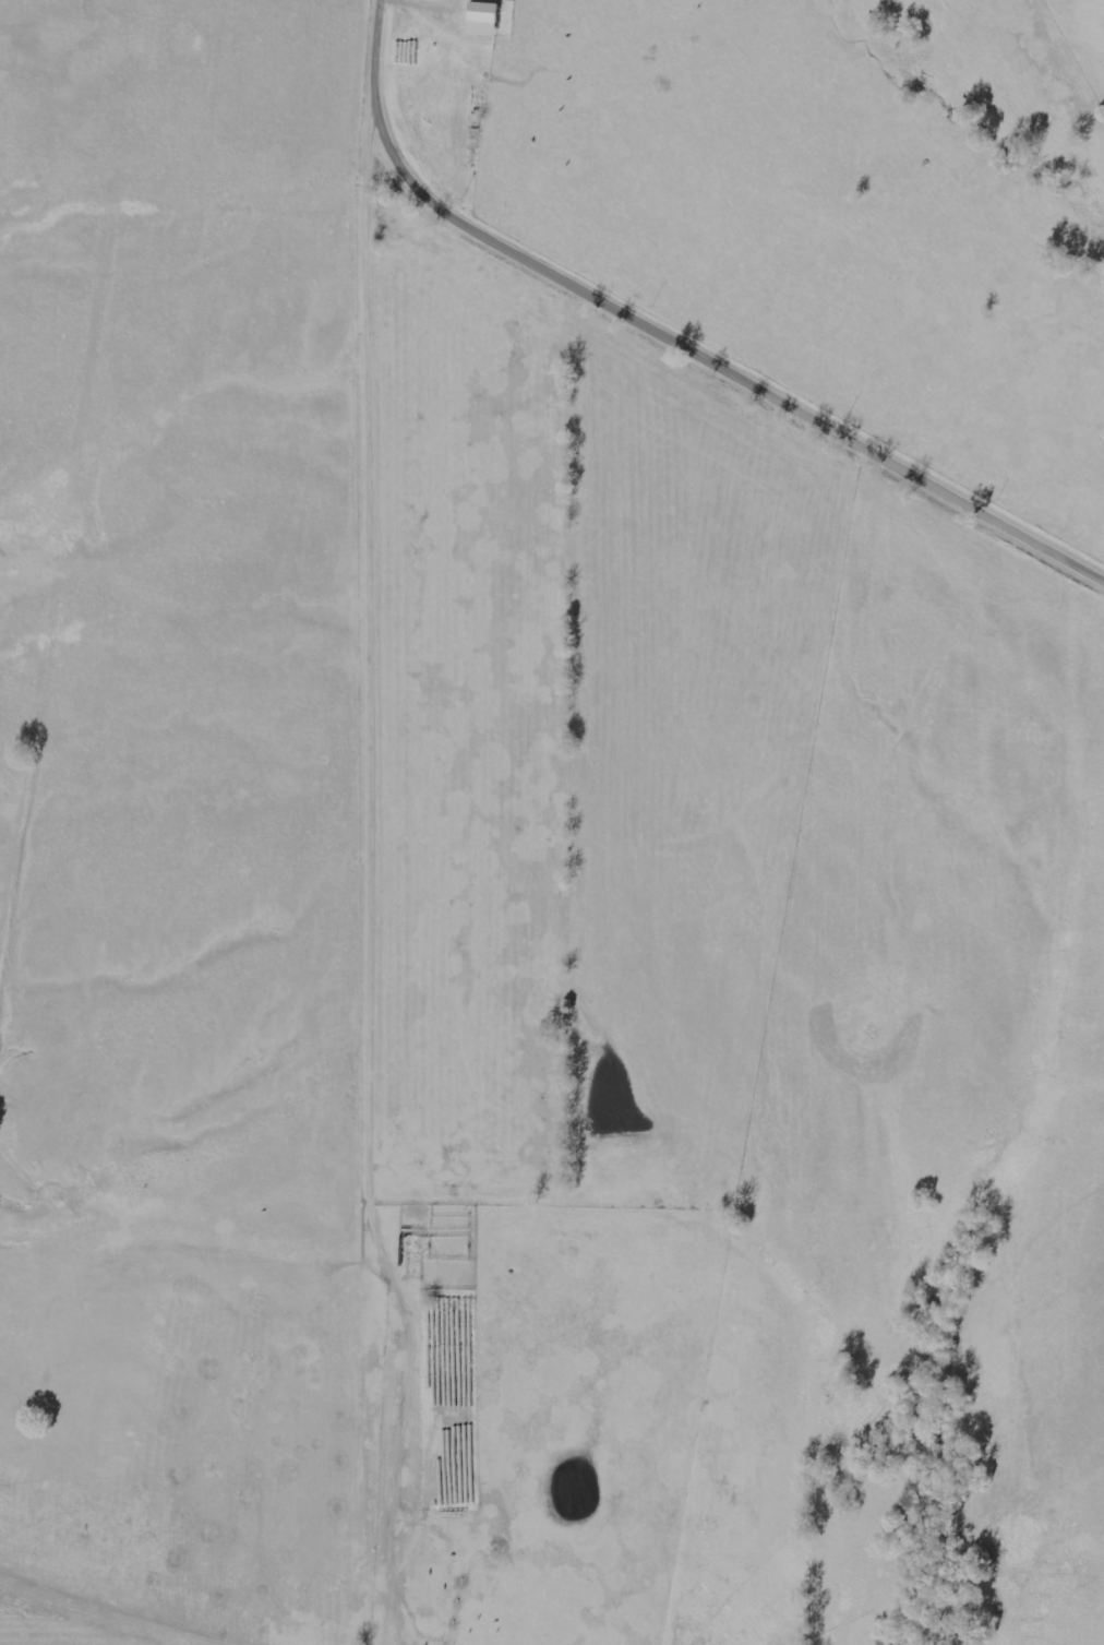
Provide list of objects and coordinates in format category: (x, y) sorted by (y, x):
building: (483, 20)
road: (665, 342)

